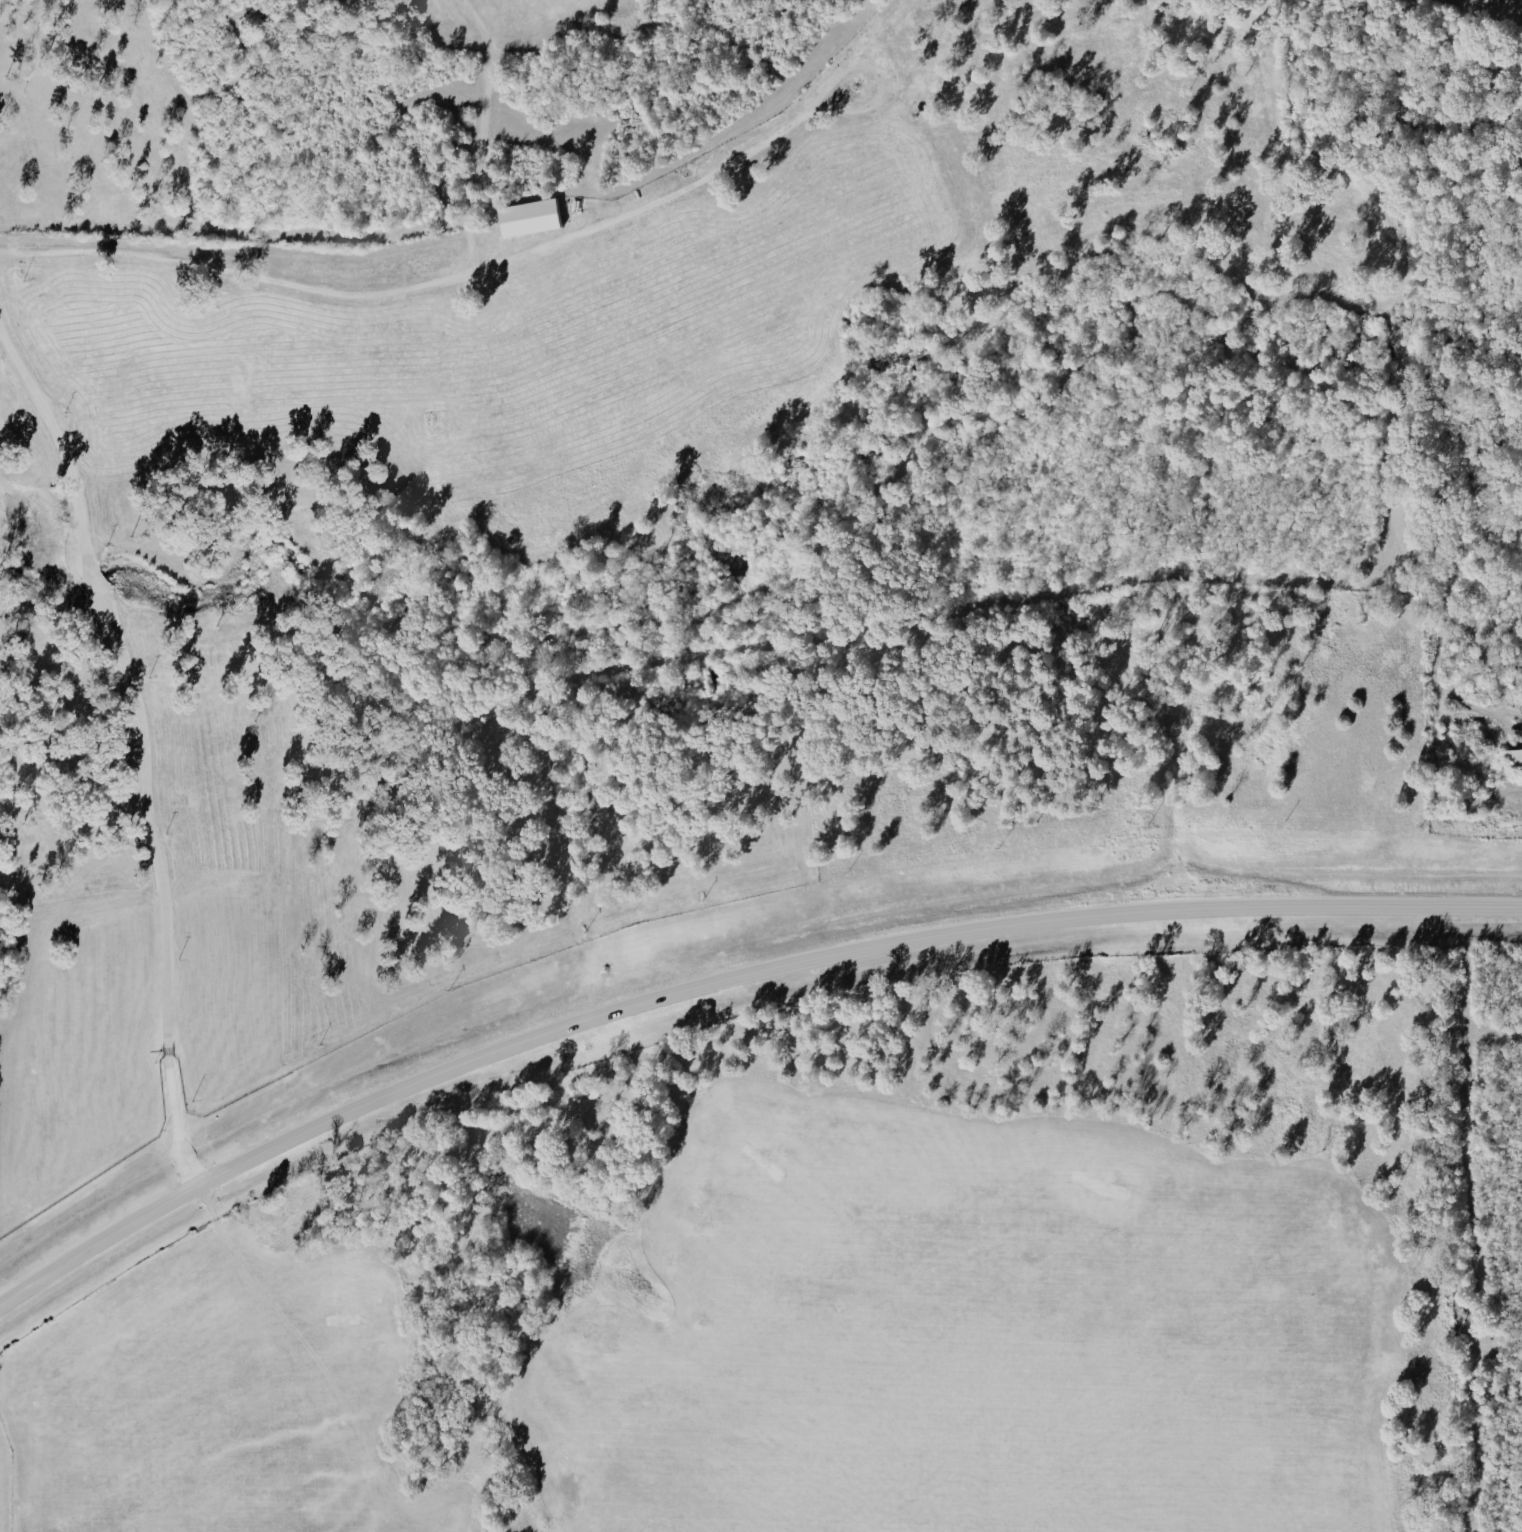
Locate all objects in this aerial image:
building: (527, 217)
road: (58, 435)
road: (97, 589)
building: (1511, 756)
road: (162, 893)
road: (726, 978)

